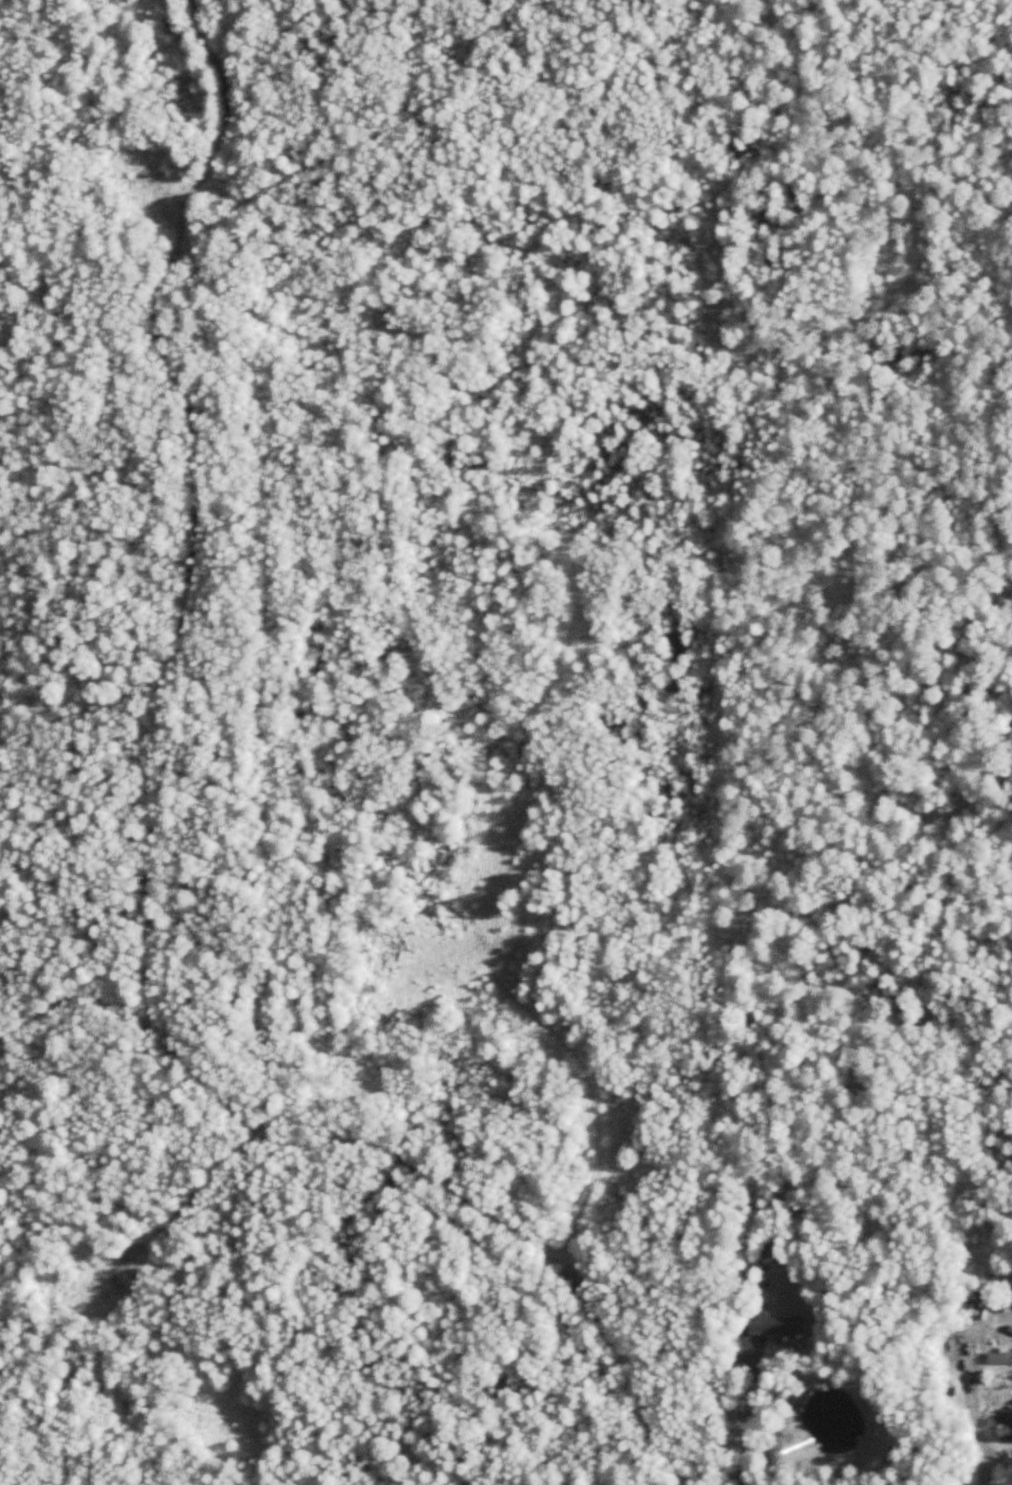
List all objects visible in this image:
building: (771, 1322)
building: (1000, 1359)
road: (749, 1415)
building: (999, 1422)
road: (995, 1464)

